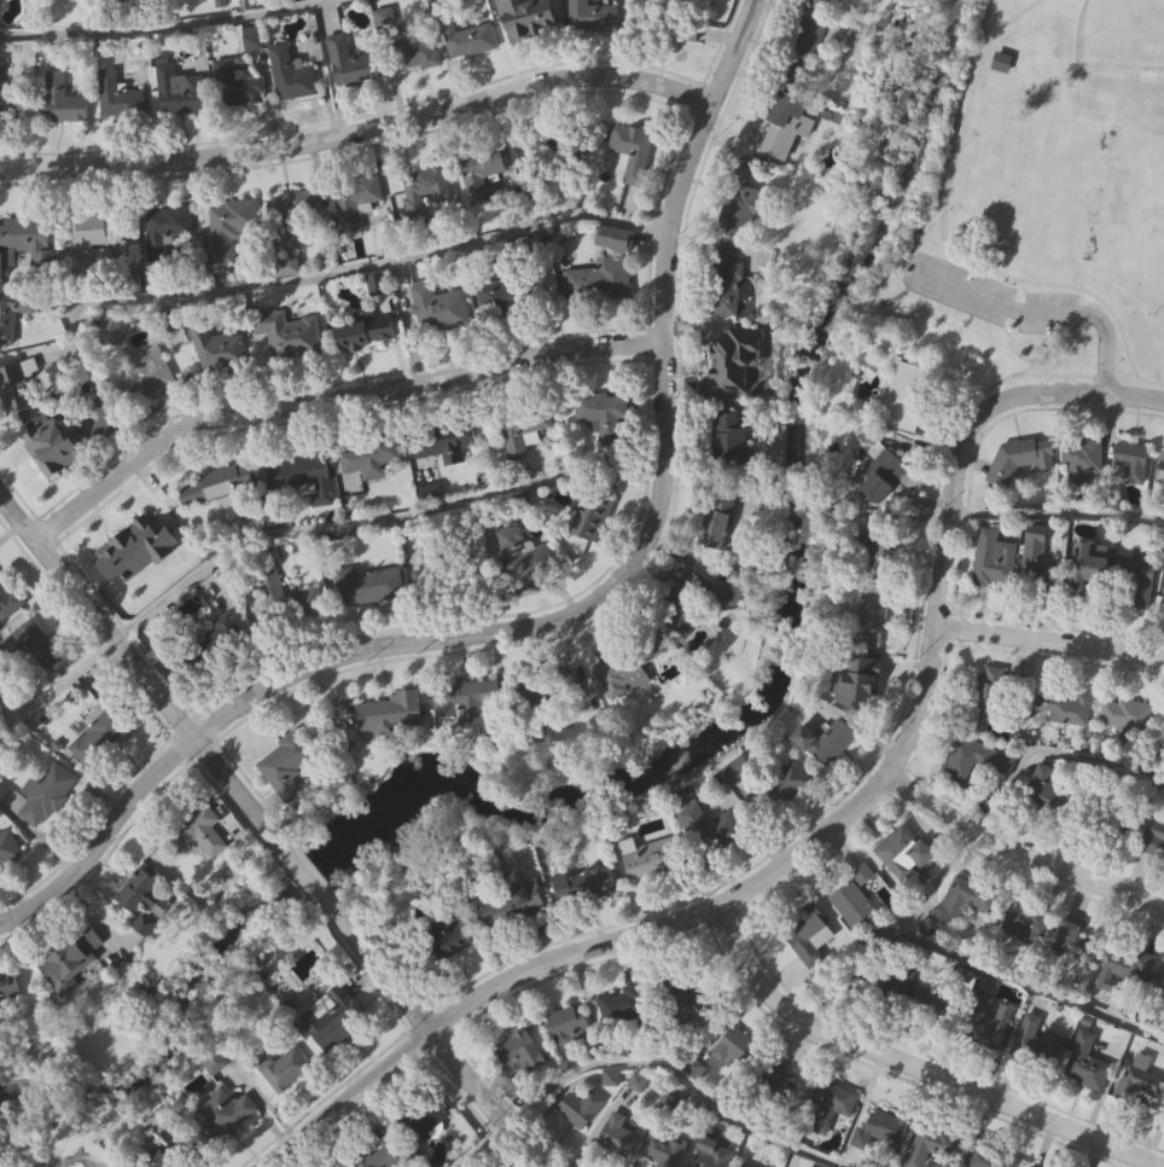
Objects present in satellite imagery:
building: (816, 2)
building: (578, 7)
building: (613, 16)
building: (530, 19)
road: (164, 27)
park: (1122, 35)
building: (467, 37)
building: (694, 37)
building: (801, 47)
building: (417, 52)
building: (1001, 60)
building: (351, 62)
building: (295, 81)
building: (243, 88)
building: (179, 89)
building: (117, 95)
building: (62, 98)
building: (6, 103)
building: (782, 120)
road: (357, 127)
building: (525, 147)
building: (632, 149)
building: (479, 169)
building: (424, 187)
park: (1035, 197)
building: (354, 199)
building: (740, 203)
building: (296, 214)
building: (229, 221)
building: (91, 223)
building: (164, 228)
building: (610, 238)
building: (35, 244)
road: (945, 245)
building: (1, 259)
road: (287, 272)
building: (598, 279)
building: (726, 280)
parking lot: (959, 290)
building: (438, 307)
building: (12, 312)
road: (1036, 314)
parking lot: (1049, 314)
building: (111, 324)
building: (365, 331)
building: (287, 332)
building: (215, 344)
building: (724, 362)
building: (153, 368)
road: (1141, 381)
road: (1159, 385)
building: (14, 387)
building: (907, 395)
road: (331, 396)
building: (601, 414)
road: (970, 426)
building: (520, 434)
building: (728, 439)
building: (444, 441)
building: (46, 453)
building: (1019, 455)
building: (369, 457)
building: (1081, 461)
building: (1129, 461)
building: (880, 468)
building: (1159, 469)
building: (301, 472)
building: (215, 483)
building: (594, 503)
building: (717, 513)
road: (1057, 516)
road: (373, 518)
road: (653, 519)
building: (127, 546)
building: (878, 546)
building: (523, 553)
building: (990, 558)
building: (1040, 562)
building: (1086, 562)
building: (456, 571)
building: (1133, 582)
building: (369, 585)
building: (689, 585)
building: (733, 590)
building: (285, 598)
building: (7, 599)
building: (1162, 603)
building: (869, 614)
road: (1048, 638)
building: (214, 639)
building: (30, 644)
building: (627, 664)
road: (139, 669)
building: (854, 681)
building: (546, 684)
road: (57, 686)
building: (985, 691)
building: (467, 698)
building: (1063, 707)
building: (390, 710)
building: (1124, 718)
building: (99, 728)
building: (1163, 732)
building: (825, 739)
road: (1053, 754)
building: (974, 757)
building: (285, 764)
building: (1047, 788)
building: (778, 789)
building: (45, 794)
building: (1111, 814)
building: (197, 831)
road: (100, 832)
building: (716, 834)
building: (1152, 843)
building: (8, 847)
road: (1018, 848)
building: (903, 852)
building: (654, 860)
road: (312, 882)
building: (584, 883)
road: (923, 894)
building: (139, 899)
building: (962, 899)
building: (511, 902)
building: (850, 902)
building: (1022, 921)
road: (636, 934)
building: (807, 936)
building: (441, 941)
building: (1071, 947)
building: (70, 959)
building: (1122, 965)
building: (1159, 980)
building: (8, 986)
road: (1028, 986)
building: (881, 991)
building: (687, 1000)
building: (623, 1004)
building: (985, 1020)
building: (570, 1021)
building: (331, 1022)
building: (1037, 1041)
road: (442, 1049)
building: (733, 1049)
building: (518, 1051)
building: (1086, 1063)
road: (914, 1064)
building: (280, 1067)
road: (644, 1067)
building: (636, 1081)
building: (772, 1082)
building: (1137, 1087)
building: (820, 1107)
building: (580, 1108)
road: (472, 1114)
building: (423, 1117)
building: (879, 1130)
building: (616, 1134)
building: (933, 1146)
building: (660, 1150)
building: (710, 1154)
building: (383, 1155)
building: (990, 1159)
building: (164, 1161)
building: (473, 1165)
building: (743, 1165)
building: (1031, 1166)

